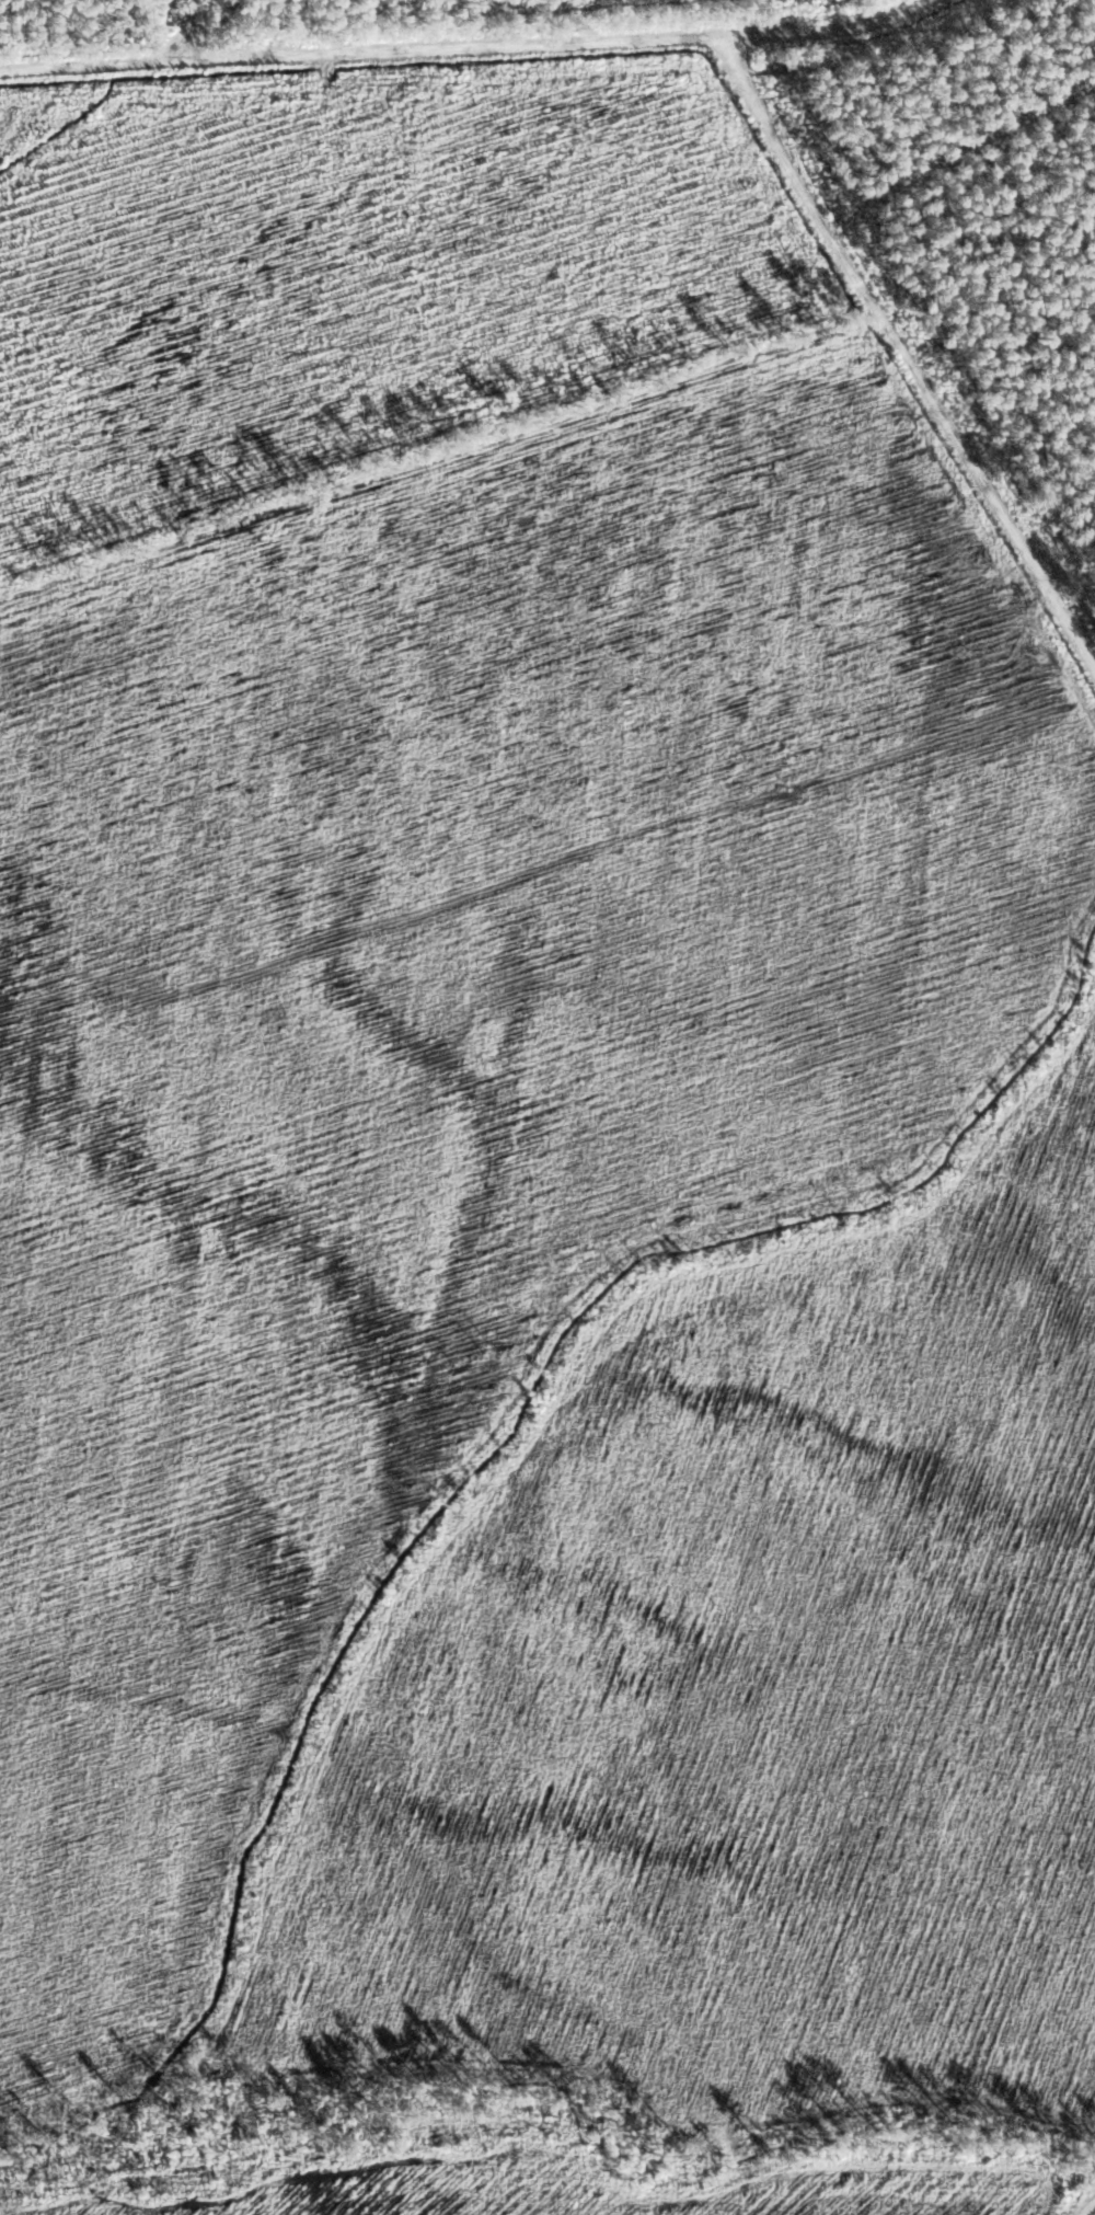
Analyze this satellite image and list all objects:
road: (396, 30)
road: (1042, 563)
road: (1093, 2213)

